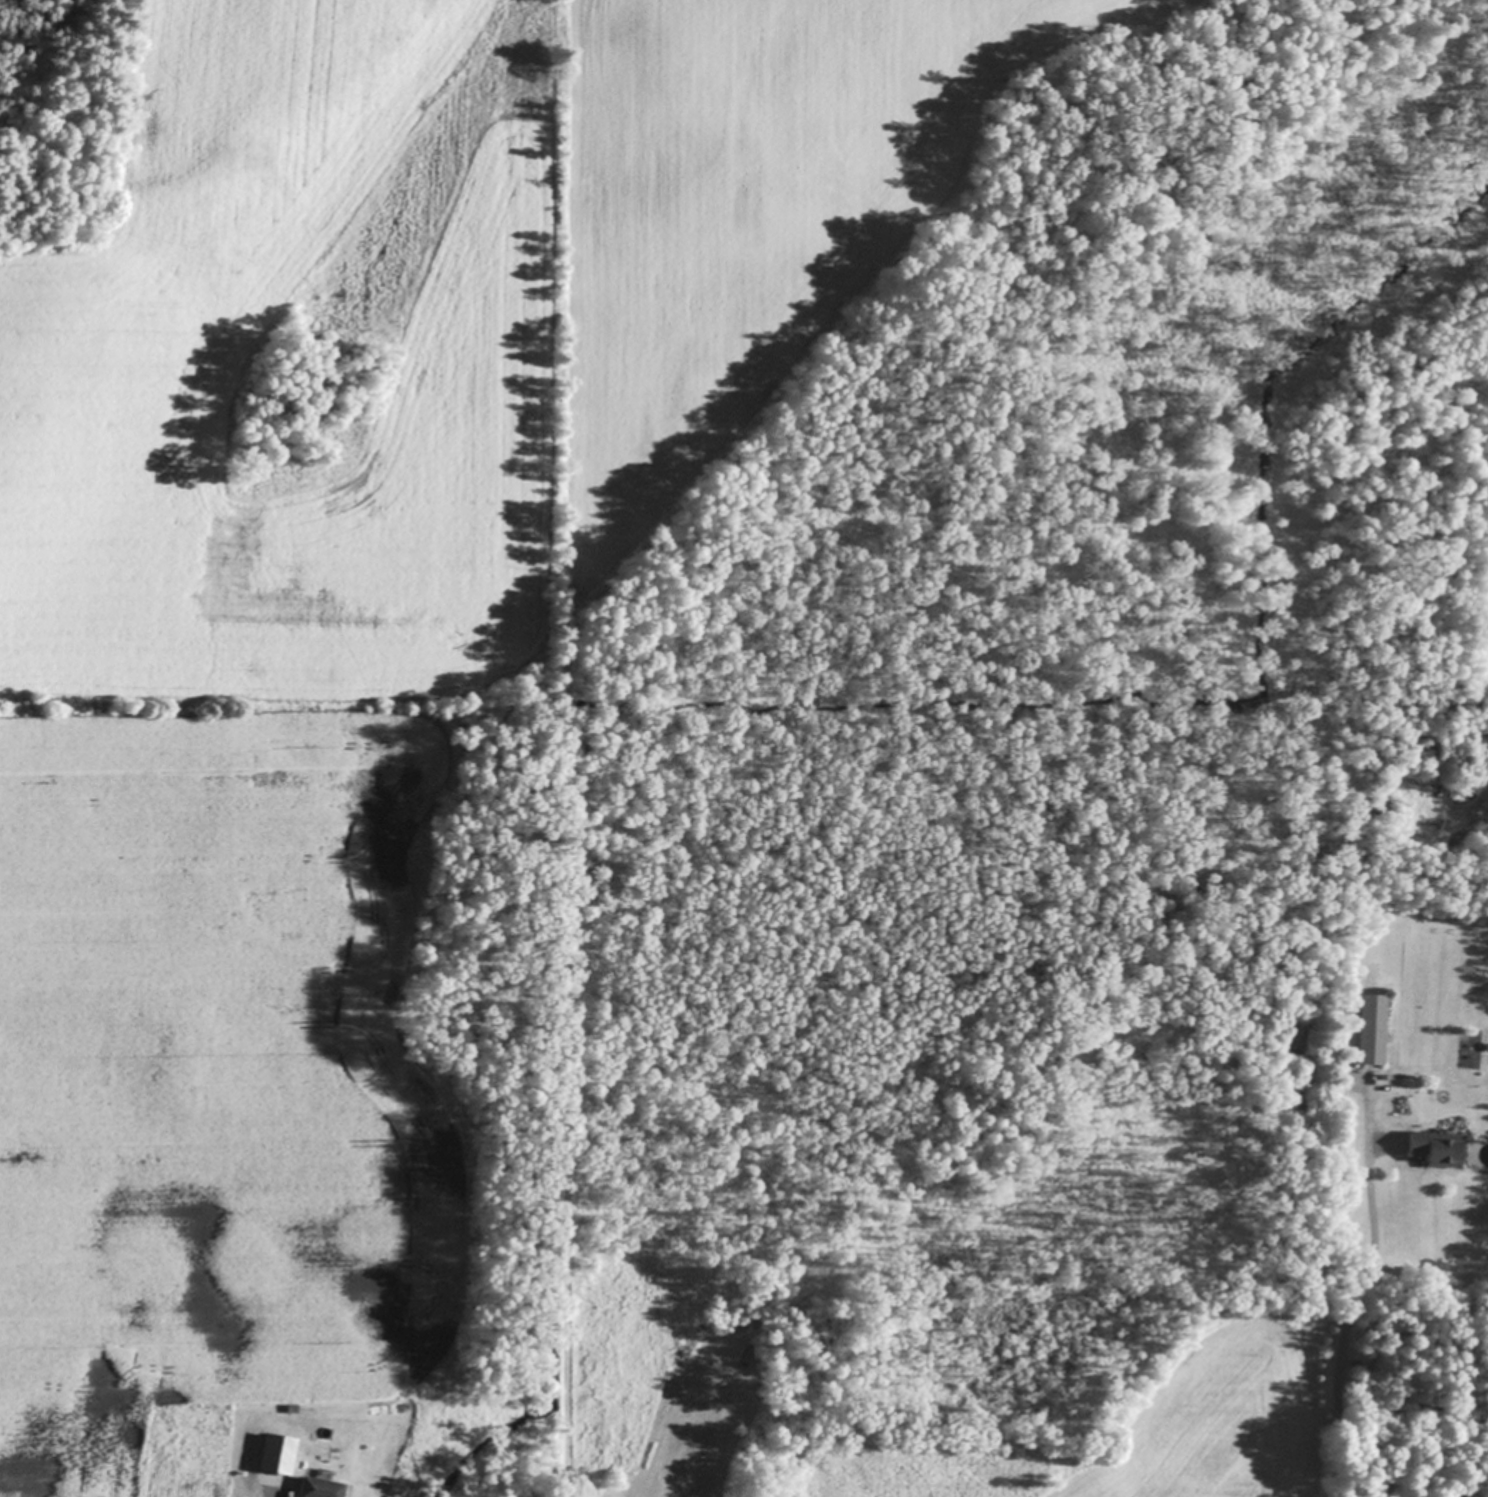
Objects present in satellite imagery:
building: (1373, 1030)
building: (1439, 1150)
road: (1353, 1324)
building: (277, 1455)
building: (273, 1481)
building: (320, 1488)

